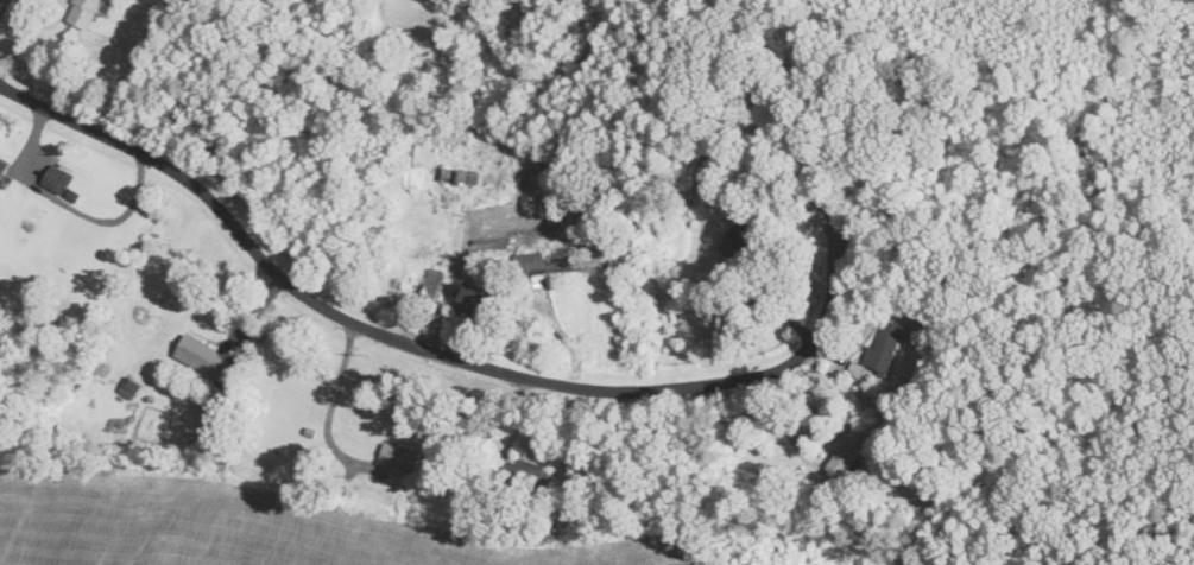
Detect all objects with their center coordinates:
road: (2, 6)
building: (84, 13)
building: (415, 154)
building: (2, 167)
building: (463, 167)
building: (64, 184)
road: (68, 209)
building: (740, 236)
building: (431, 286)
road: (776, 298)
building: (474, 300)
road: (432, 348)
building: (202, 357)
building: (128, 388)
road: (328, 402)
building: (847, 451)
building: (399, 458)

